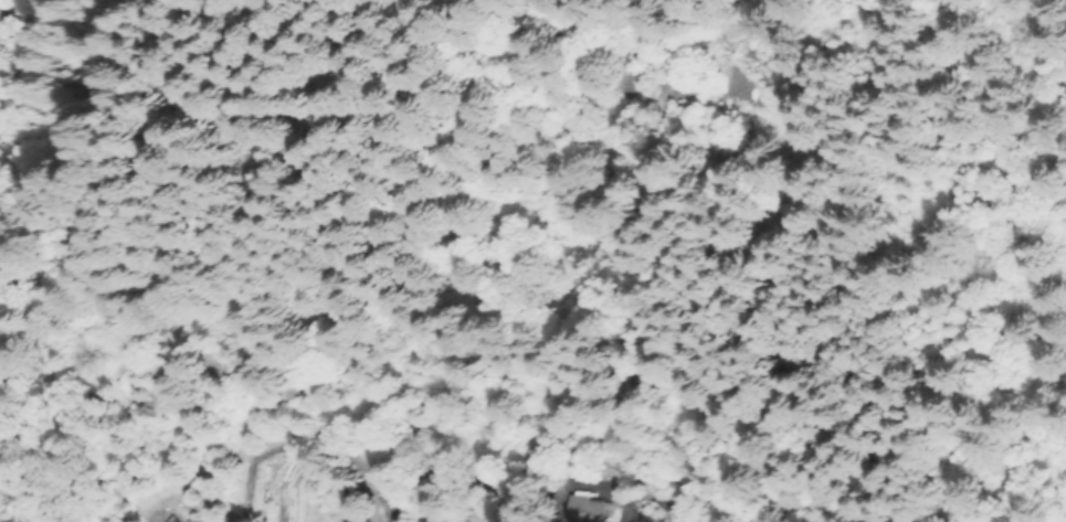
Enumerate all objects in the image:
road: (909, 348)
building: (597, 512)
building: (177, 521)

